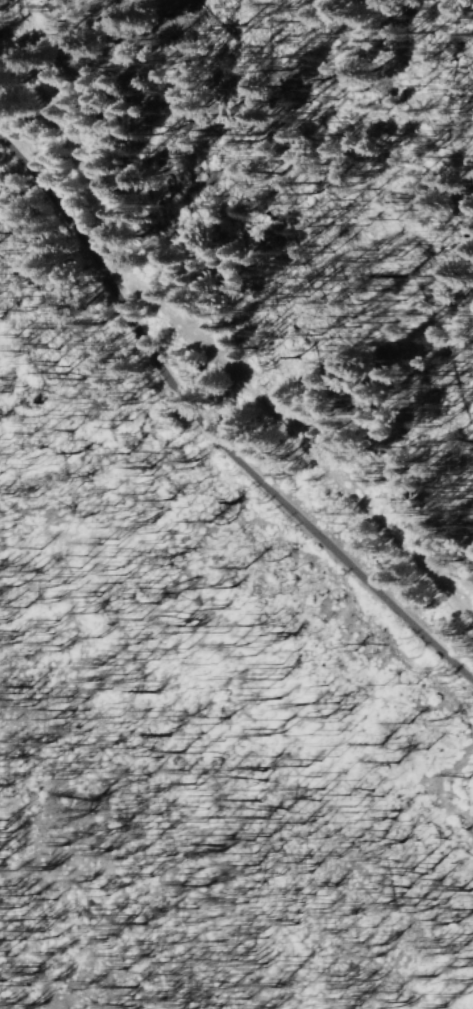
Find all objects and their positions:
road: (224, 423)

